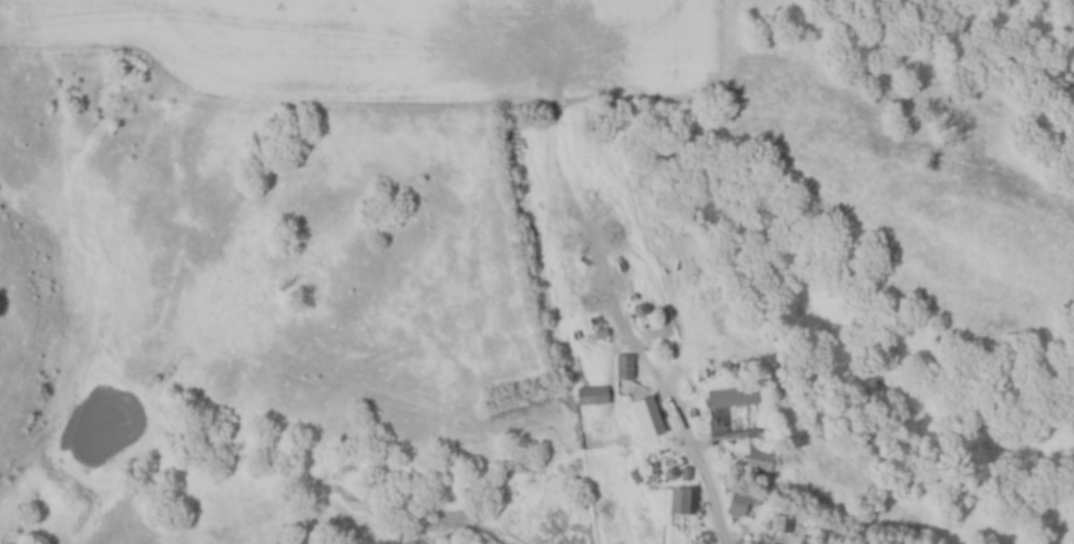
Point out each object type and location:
building: (626, 366)
building: (594, 394)
building: (735, 396)
building: (651, 417)
building: (763, 458)
road: (702, 465)
building: (685, 500)
building: (739, 503)
building: (789, 523)

